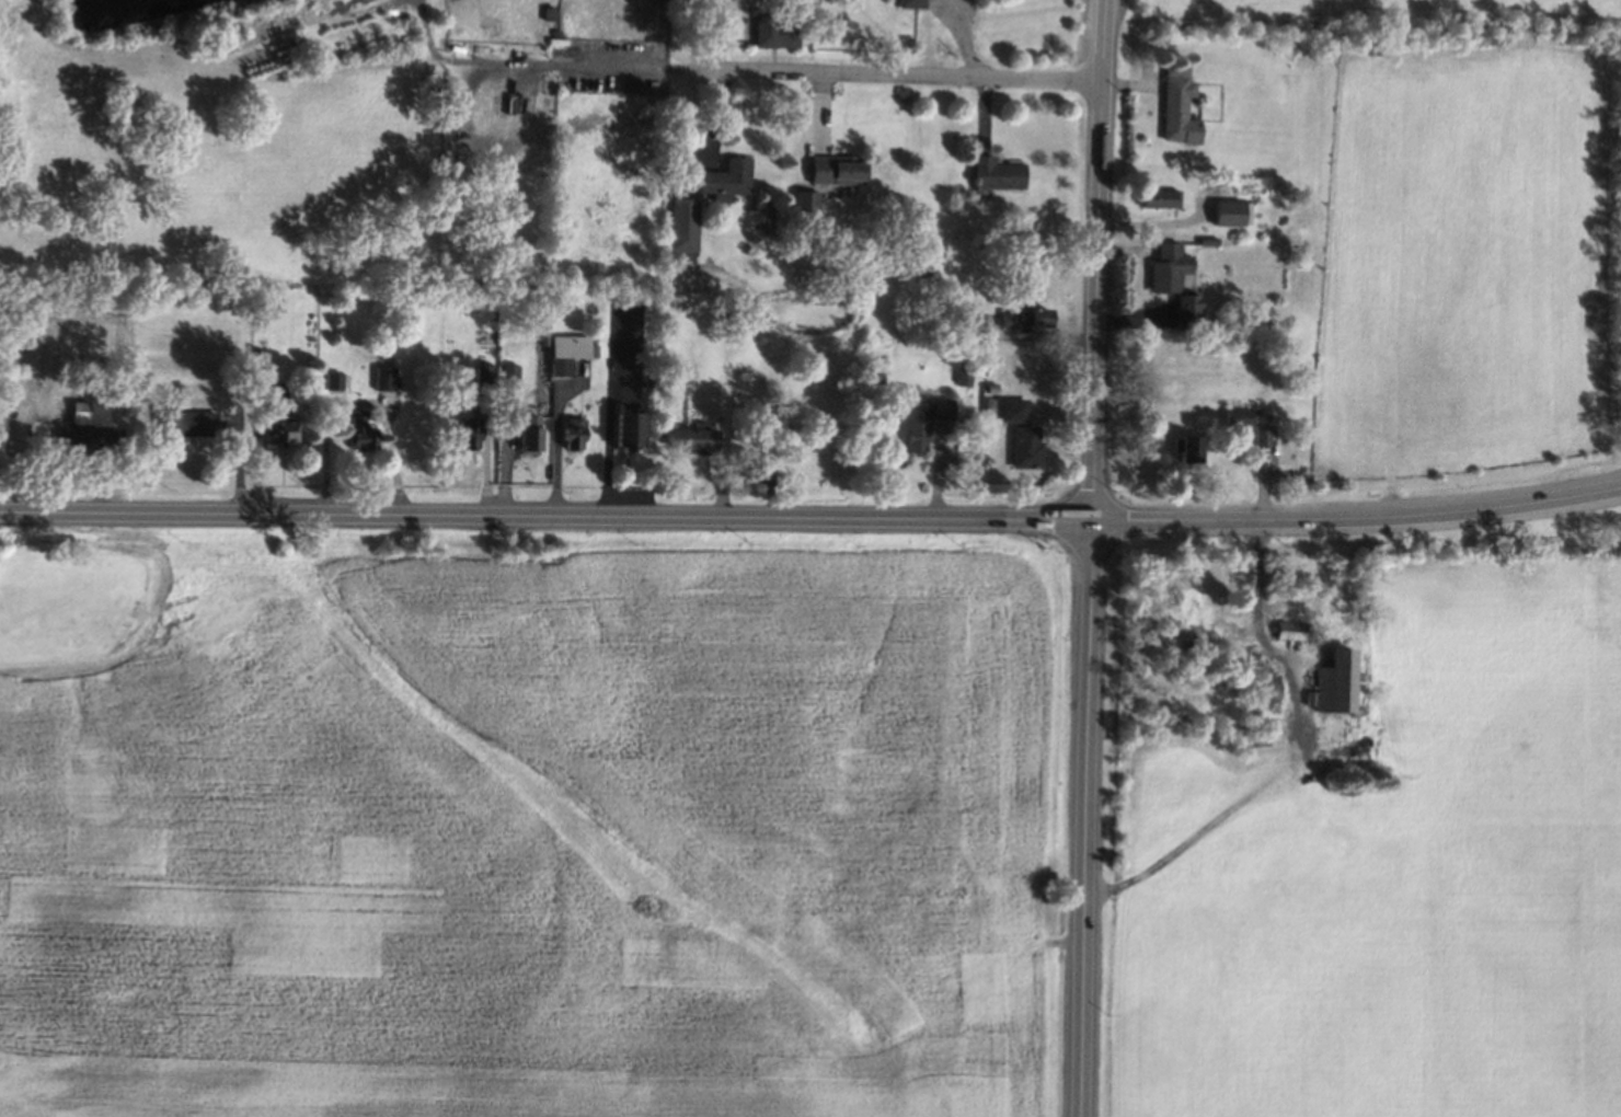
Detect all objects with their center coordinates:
building: (909, 2)
road: (777, 3)
road: (763, 4)
building: (773, 30)
road: (710, 36)
road: (962, 38)
road: (772, 59)
road: (524, 61)
building: (1173, 68)
road: (885, 76)
road: (1130, 83)
building: (1176, 110)
road: (981, 115)
road: (712, 120)
road: (812, 131)
road: (819, 135)
road: (835, 150)
road: (995, 151)
road: (689, 164)
building: (836, 169)
building: (993, 172)
building: (725, 177)
building: (1158, 197)
building: (803, 209)
building: (1230, 211)
road: (1173, 214)
road: (1154, 221)
building: (680, 227)
building: (1207, 239)
road: (1125, 249)
building: (1166, 267)
building: (1186, 310)
road: (1134, 314)
building: (1024, 318)
road: (1053, 321)
building: (972, 325)
road: (1038, 334)
building: (542, 337)
parking lot: (623, 341)
building: (591, 348)
building: (383, 350)
building: (565, 352)
building: (881, 365)
building: (257, 366)
building: (508, 372)
building: (963, 372)
building: (383, 377)
building: (333, 379)
building: (483, 379)
road: (576, 379)
building: (988, 387)
road: (329, 399)
road: (579, 399)
road: (358, 400)
road: (609, 400)
building: (988, 406)
building: (940, 407)
building: (1012, 408)
road: (1058, 411)
building: (88, 413)
building: (1239, 415)
road: (560, 416)
road: (959, 421)
building: (183, 424)
road: (980, 425)
building: (916, 426)
road: (1038, 426)
building: (278, 429)
building: (625, 429)
building: (359, 430)
building: (525, 430)
building: (571, 431)
building: (987, 431)
building: (68, 433)
building: (757, 433)
building: (1261, 433)
building: (467, 434)
road: (295, 435)
building: (692, 437)
road: (555, 446)
building: (1024, 446)
road: (1241, 446)
road: (1256, 446)
road: (254, 448)
road: (479, 449)
road: (503, 449)
building: (1188, 449)
road: (560, 453)
road: (617, 456)
road: (759, 456)
road: (485, 457)
road: (237, 458)
road: (280, 462)
road: (563, 462)
road: (358, 463)
road: (743, 465)
road: (97, 469)
road: (625, 469)
road: (938, 470)
road: (1262, 481)
road: (428, 483)
parking lot: (631, 492)
road: (811, 519)
road: (1090, 557)
building: (1291, 631)
building: (1340, 682)
road: (1275, 750)

